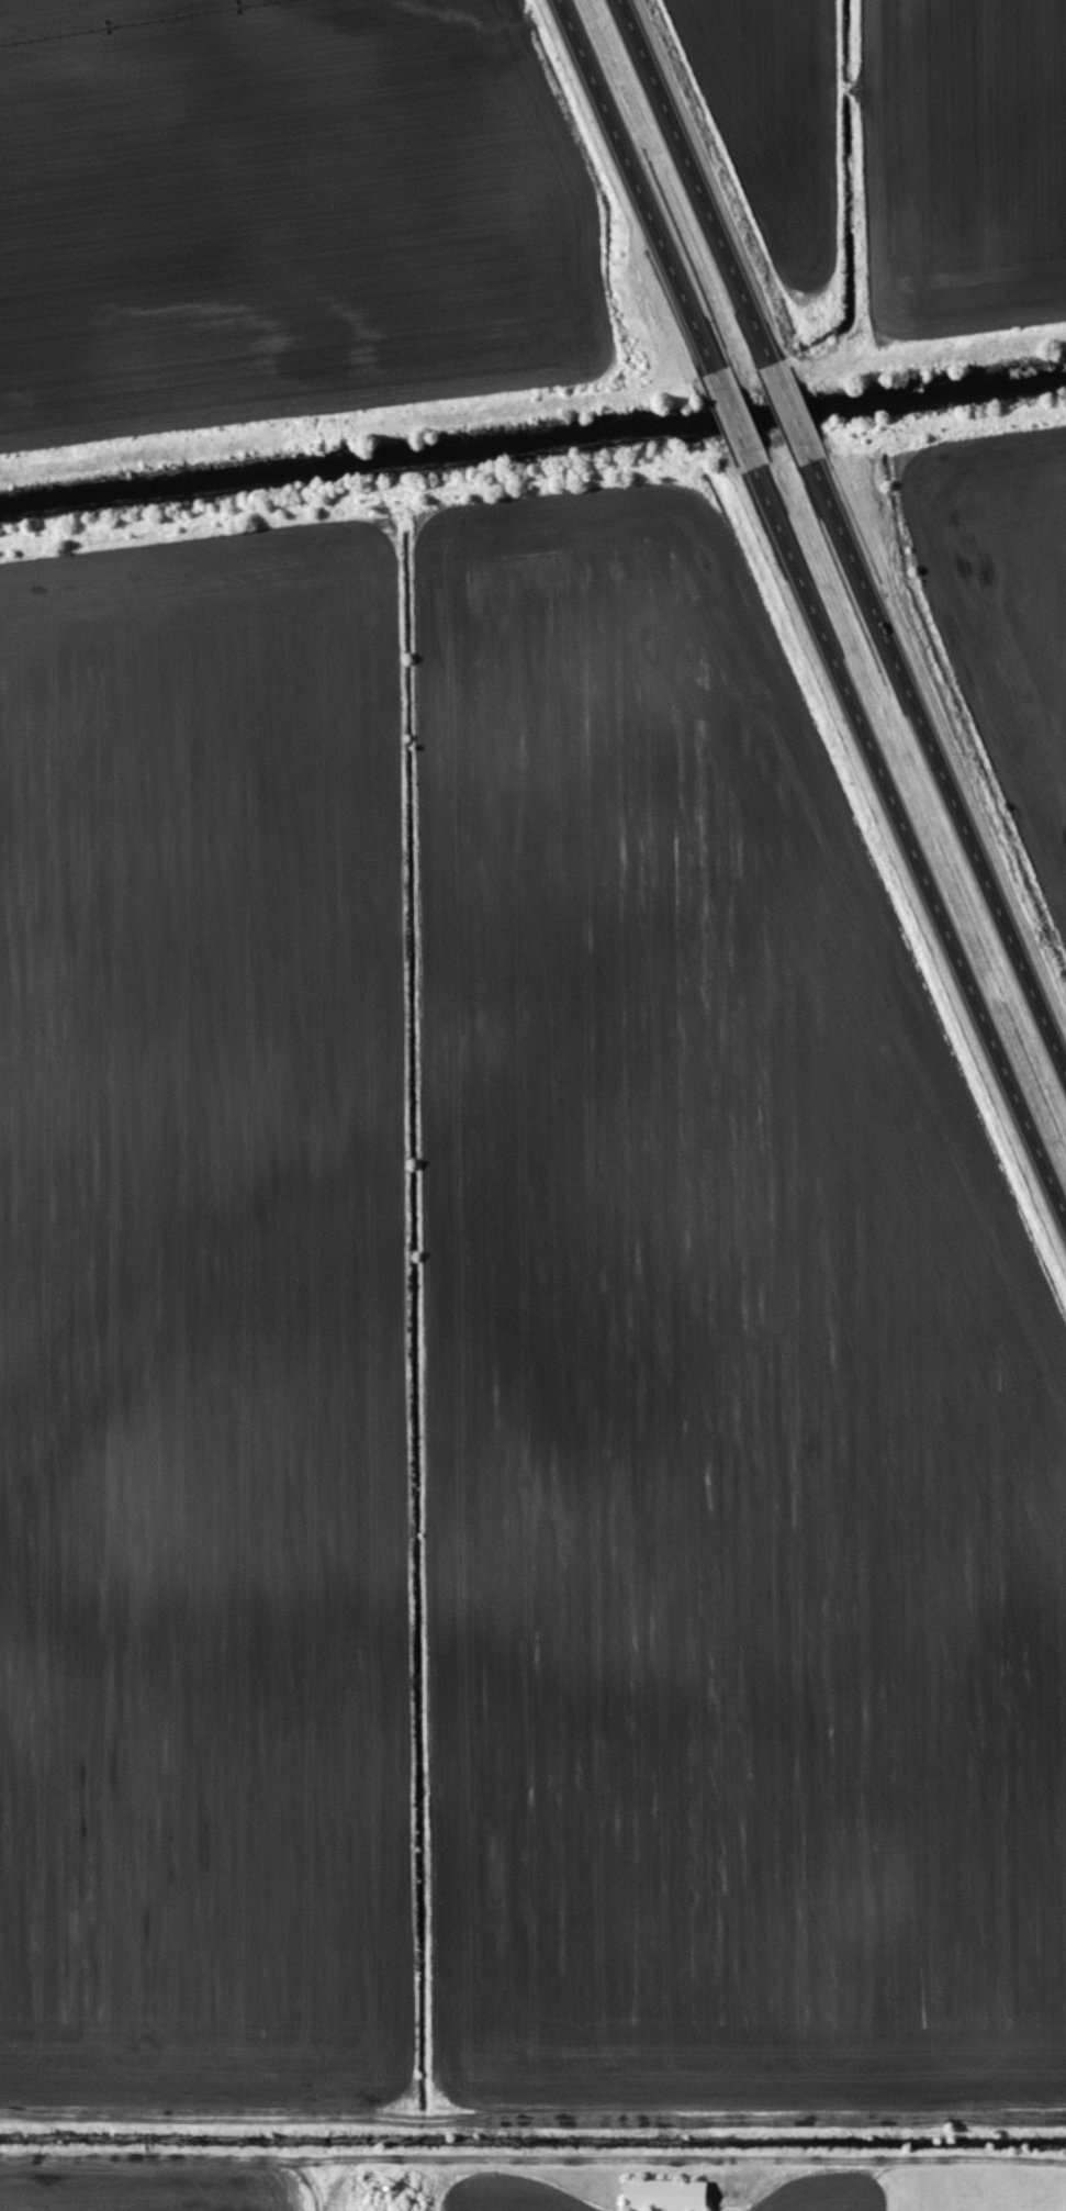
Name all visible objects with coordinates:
road: (696, 181)
road: (637, 185)
road: (793, 410)
road: (733, 417)
road: (940, 756)
road: (909, 840)
road: (532, 2109)
building: (674, 2197)

